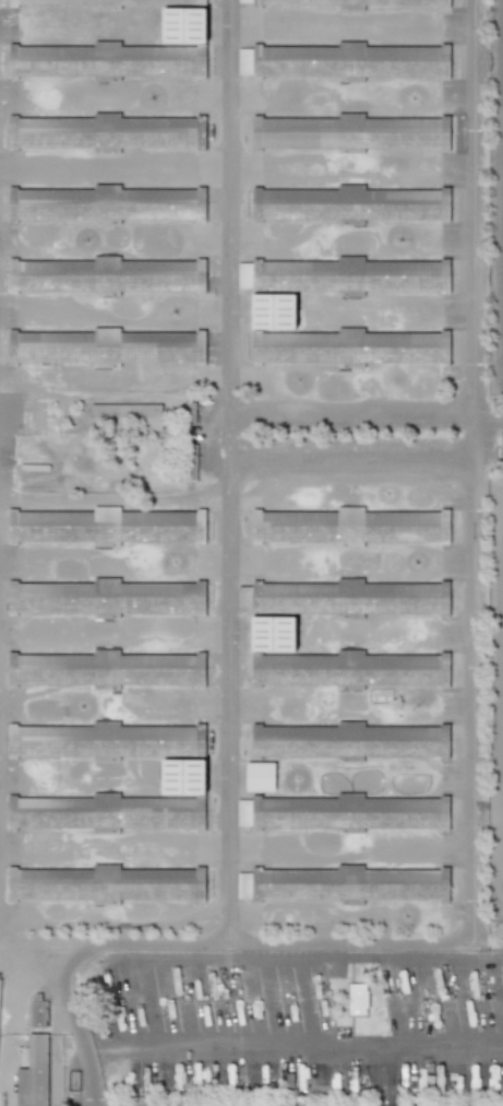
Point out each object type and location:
building: (172, 0)
building: (263, 2)
building: (81, 3)
building: (183, 25)
building: (288, 59)
building: (40, 122)
building: (11, 123)
building: (311, 133)
building: (38, 196)
road: (472, 203)
building: (124, 417)
road: (477, 435)
road: (490, 435)
road: (229, 471)
road: (481, 484)
theme park: (251, 553)
building: (19, 590)
building: (266, 617)
building: (260, 776)
building: (182, 777)
building: (243, 812)
road: (470, 823)
road: (113, 946)
road: (309, 956)
building: (357, 999)
road: (68, 1002)
building: (37, 1014)
road: (273, 1052)
building: (33, 1073)

